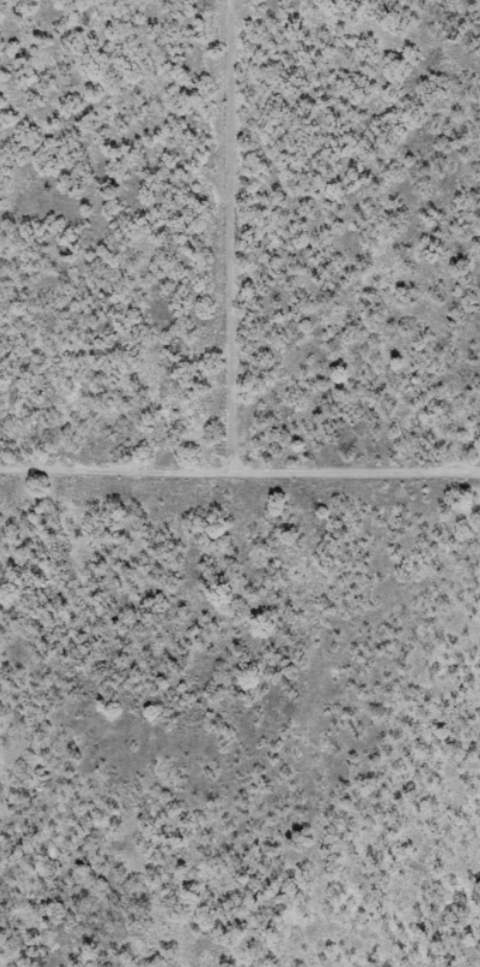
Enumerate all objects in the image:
road: (196, 270)

